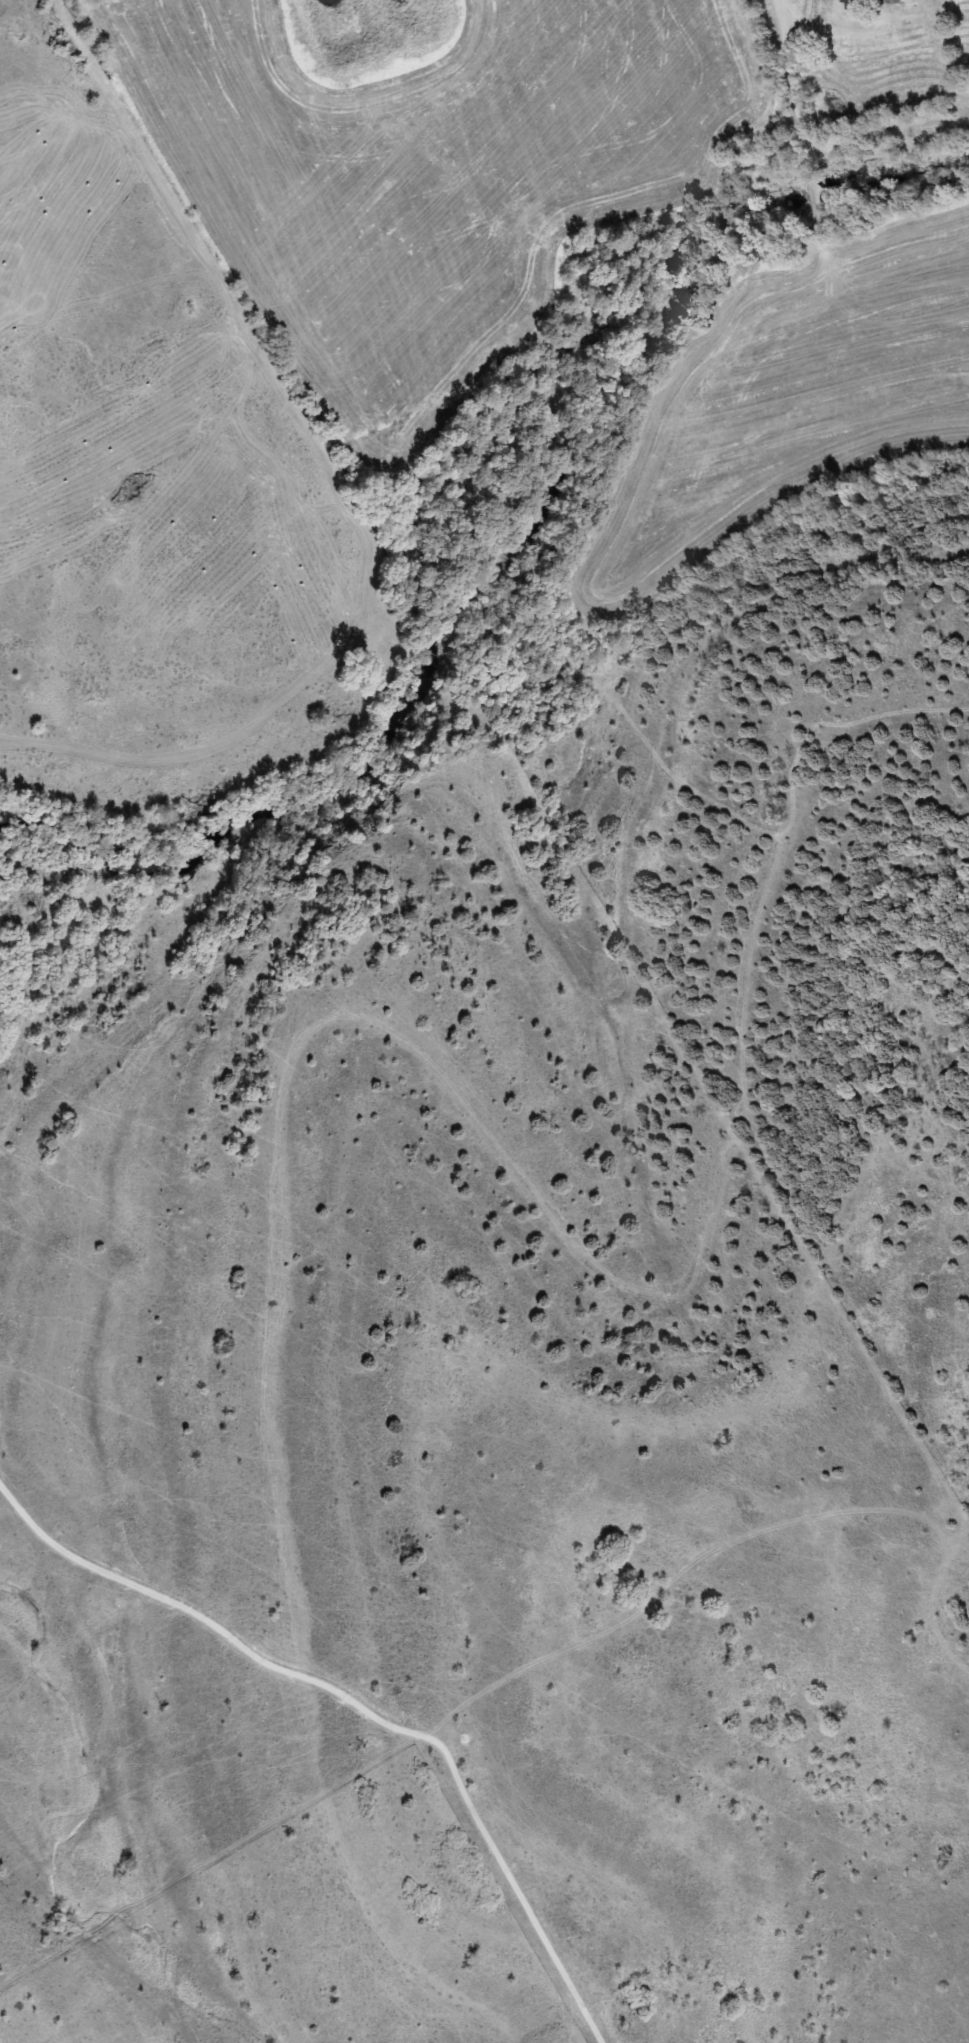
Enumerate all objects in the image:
building: (861, 4)
road: (791, 10)

